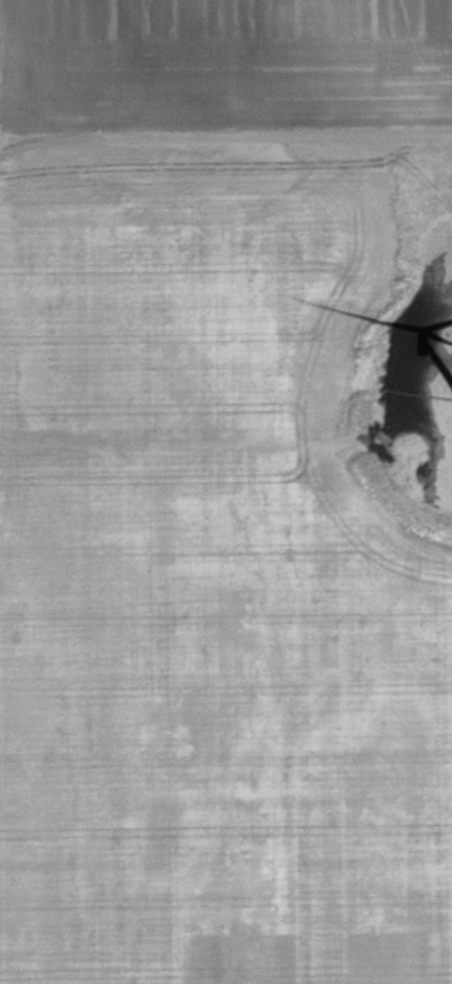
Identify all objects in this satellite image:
road: (226, 128)

